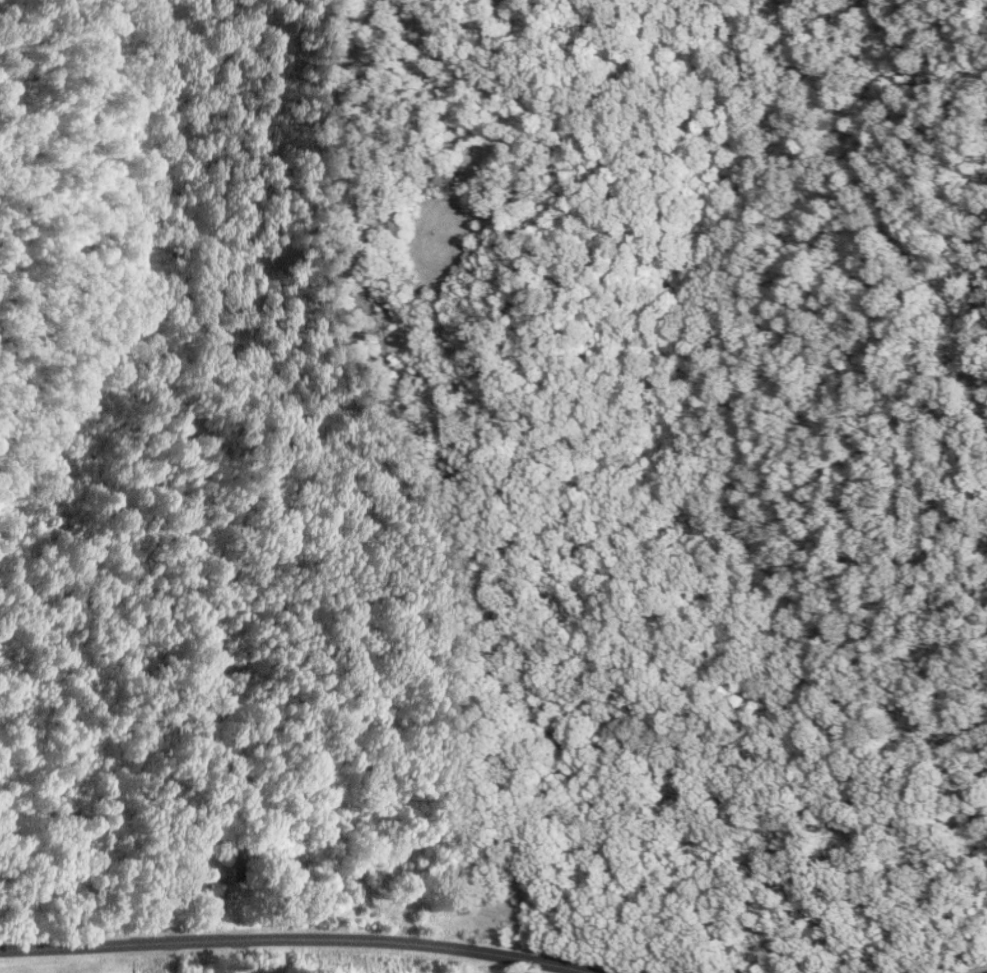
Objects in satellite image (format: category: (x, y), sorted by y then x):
building: (290, 861)
building: (208, 887)
road: (302, 936)

